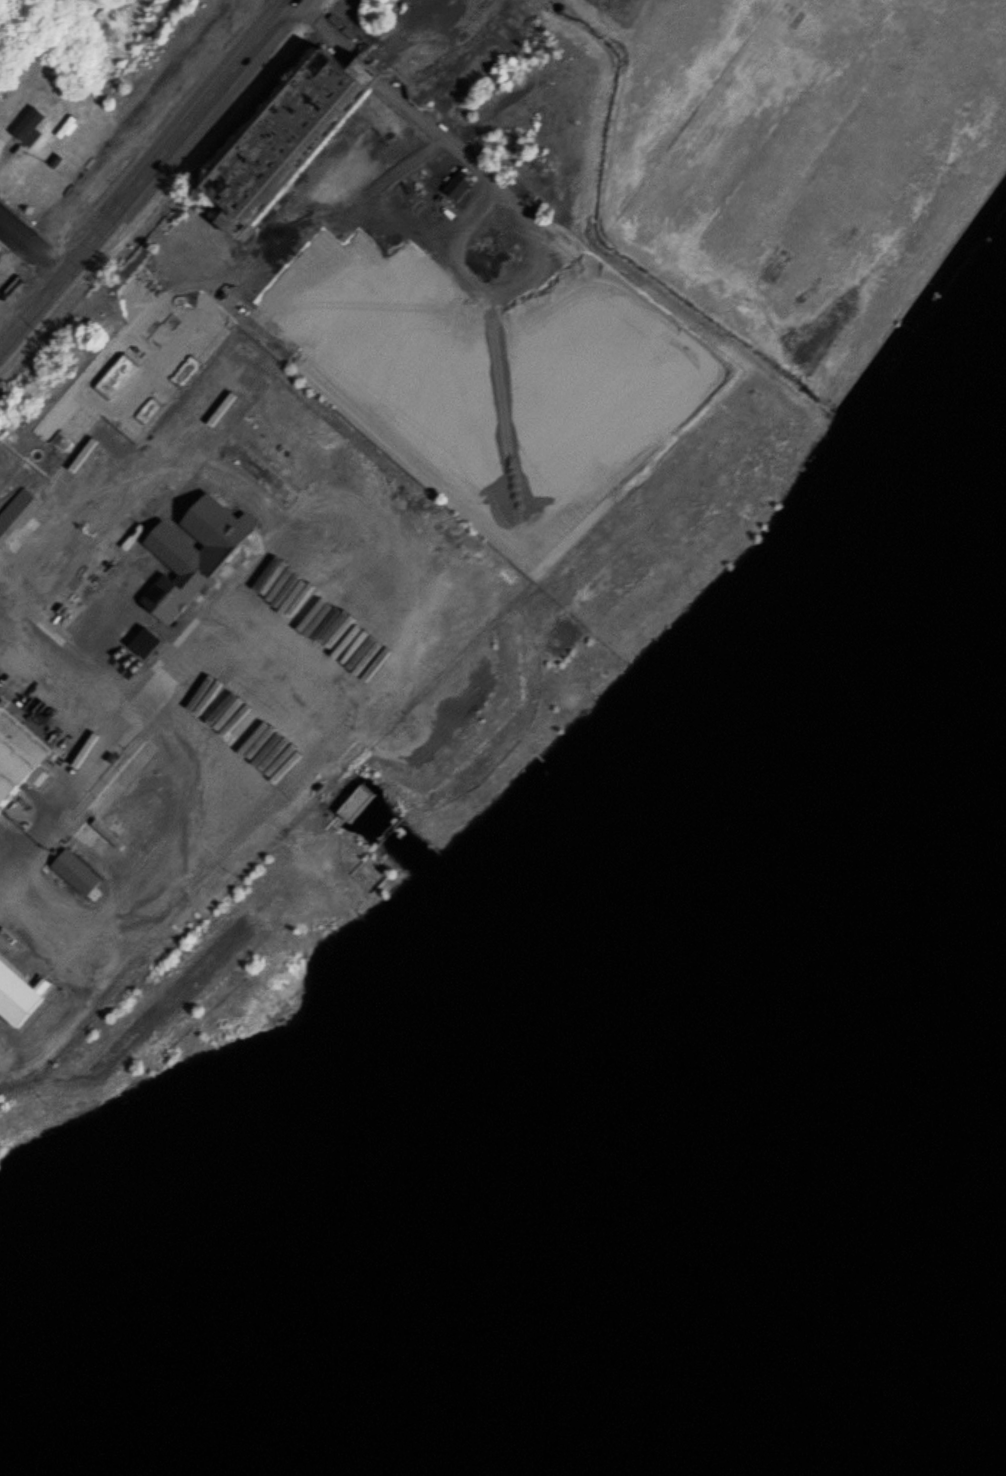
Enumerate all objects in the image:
building: (31, 124)
building: (289, 139)
road: (146, 173)
road: (32, 240)
building: (198, 549)
building: (18, 757)
building: (358, 803)
building: (18, 993)

